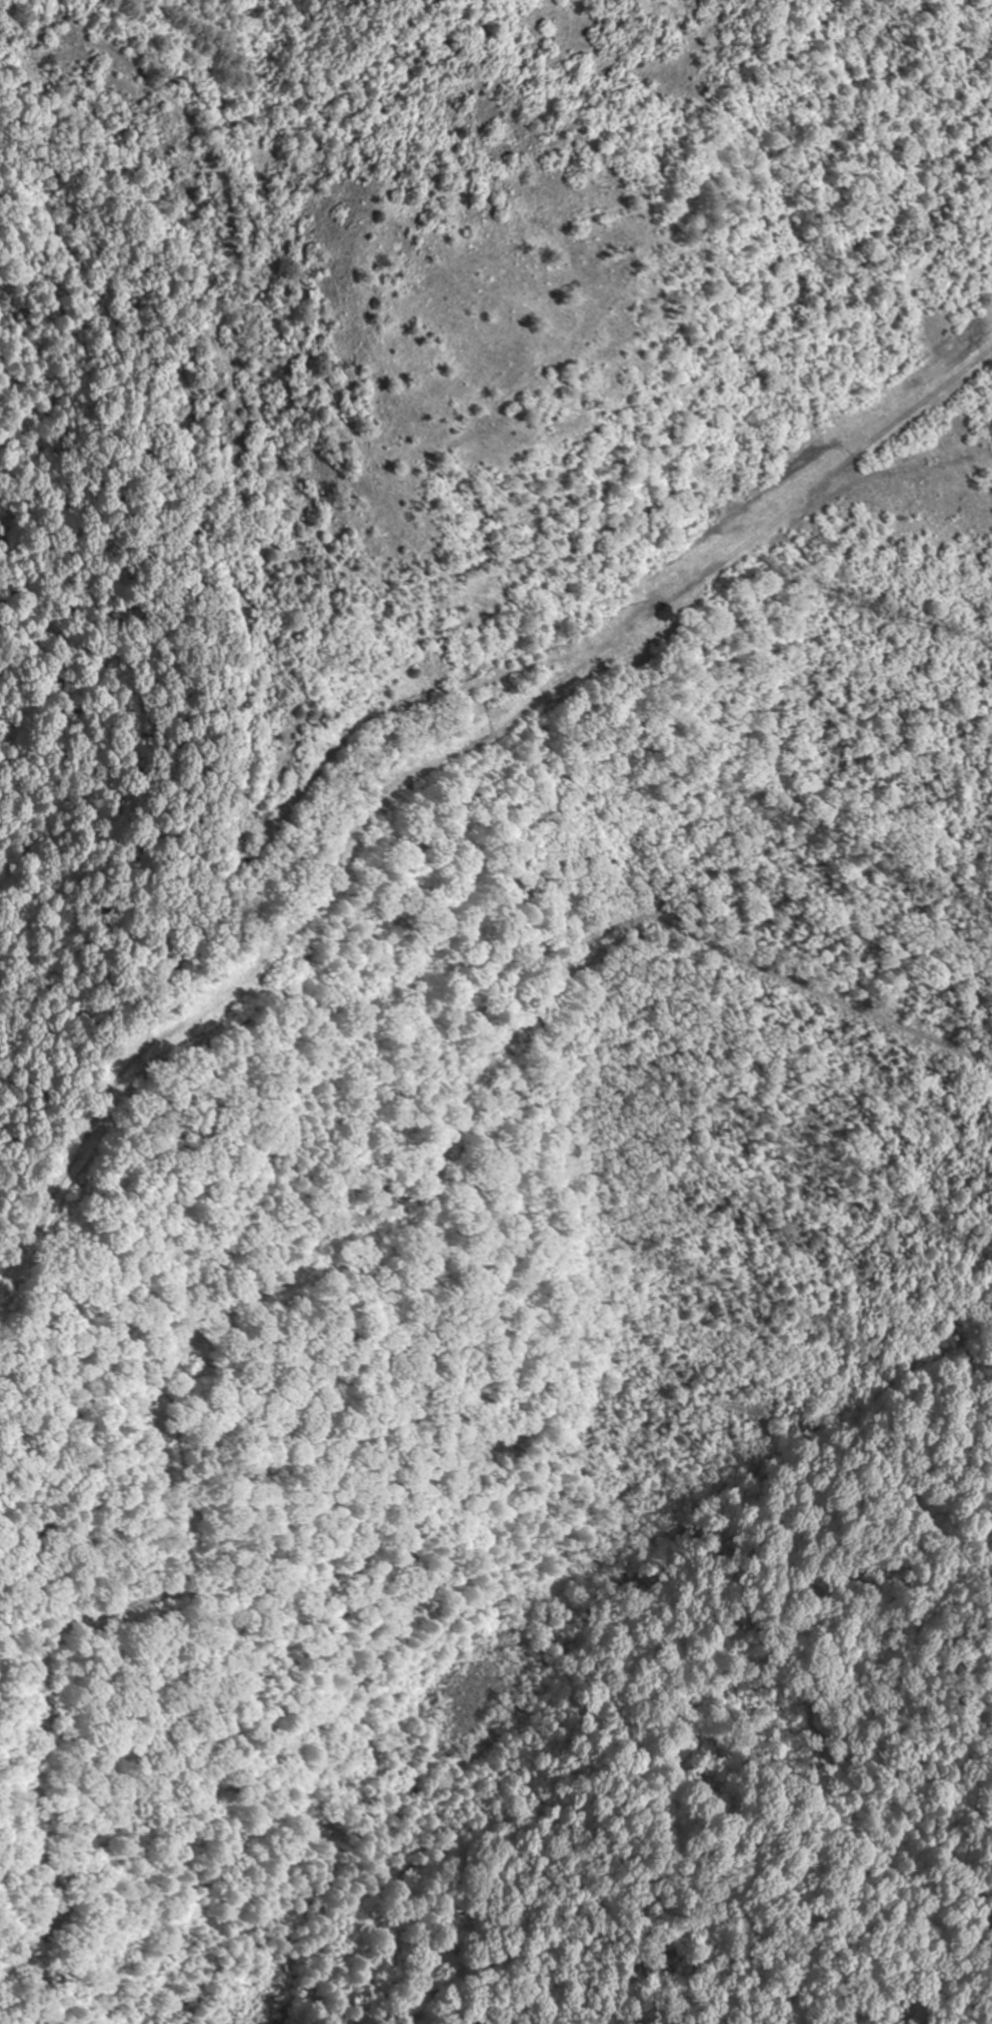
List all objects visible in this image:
building: (750, 543)

